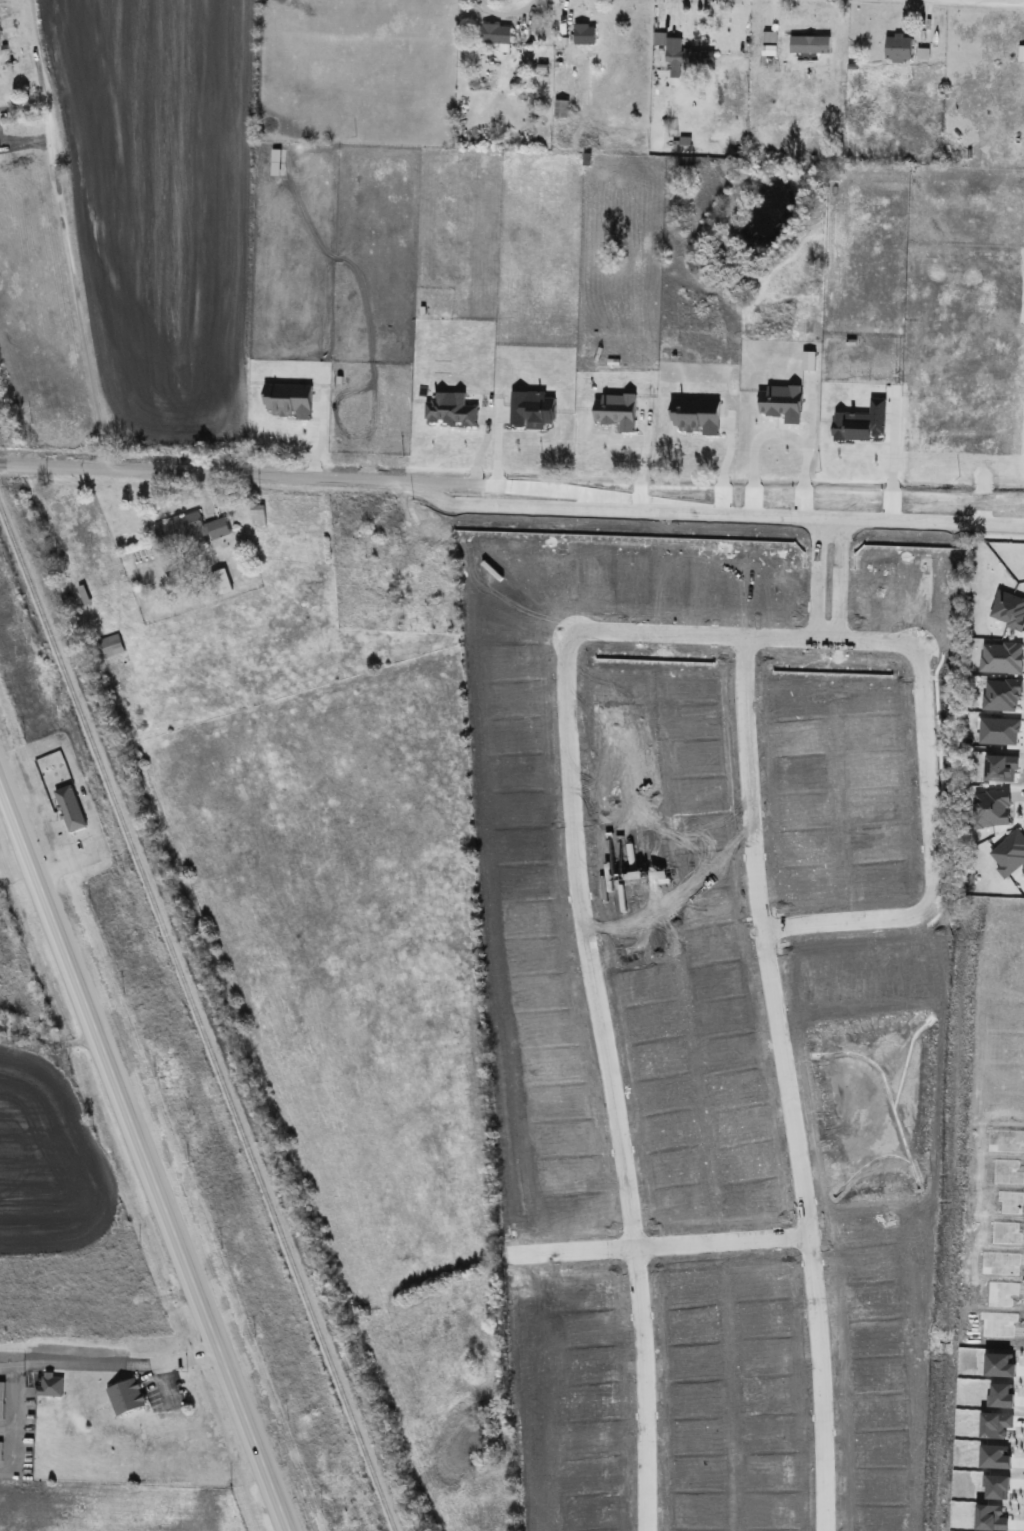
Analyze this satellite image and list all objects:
building: (496, 32)
building: (585, 33)
building: (810, 43)
building: (899, 48)
building: (771, 49)
building: (1021, 53)
building: (686, 55)
building: (802, 82)
building: (561, 108)
road: (75, 296)
road: (778, 428)
road: (512, 485)
building: (258, 515)
building: (189, 528)
road: (816, 574)
road: (837, 575)
building: (220, 581)
road: (746, 633)
building: (110, 645)
building: (827, 690)
building: (930, 752)
road: (930, 778)
building: (70, 808)
road: (850, 922)
railway: (196, 1019)
road: (608, 1079)
road: (788, 1081)
road: (144, 1160)
road: (659, 1243)
road: (118, 1364)
road: (8, 1366)
building: (49, 1386)
building: (127, 1396)
building: (1, 1398)
road: (16, 1401)

